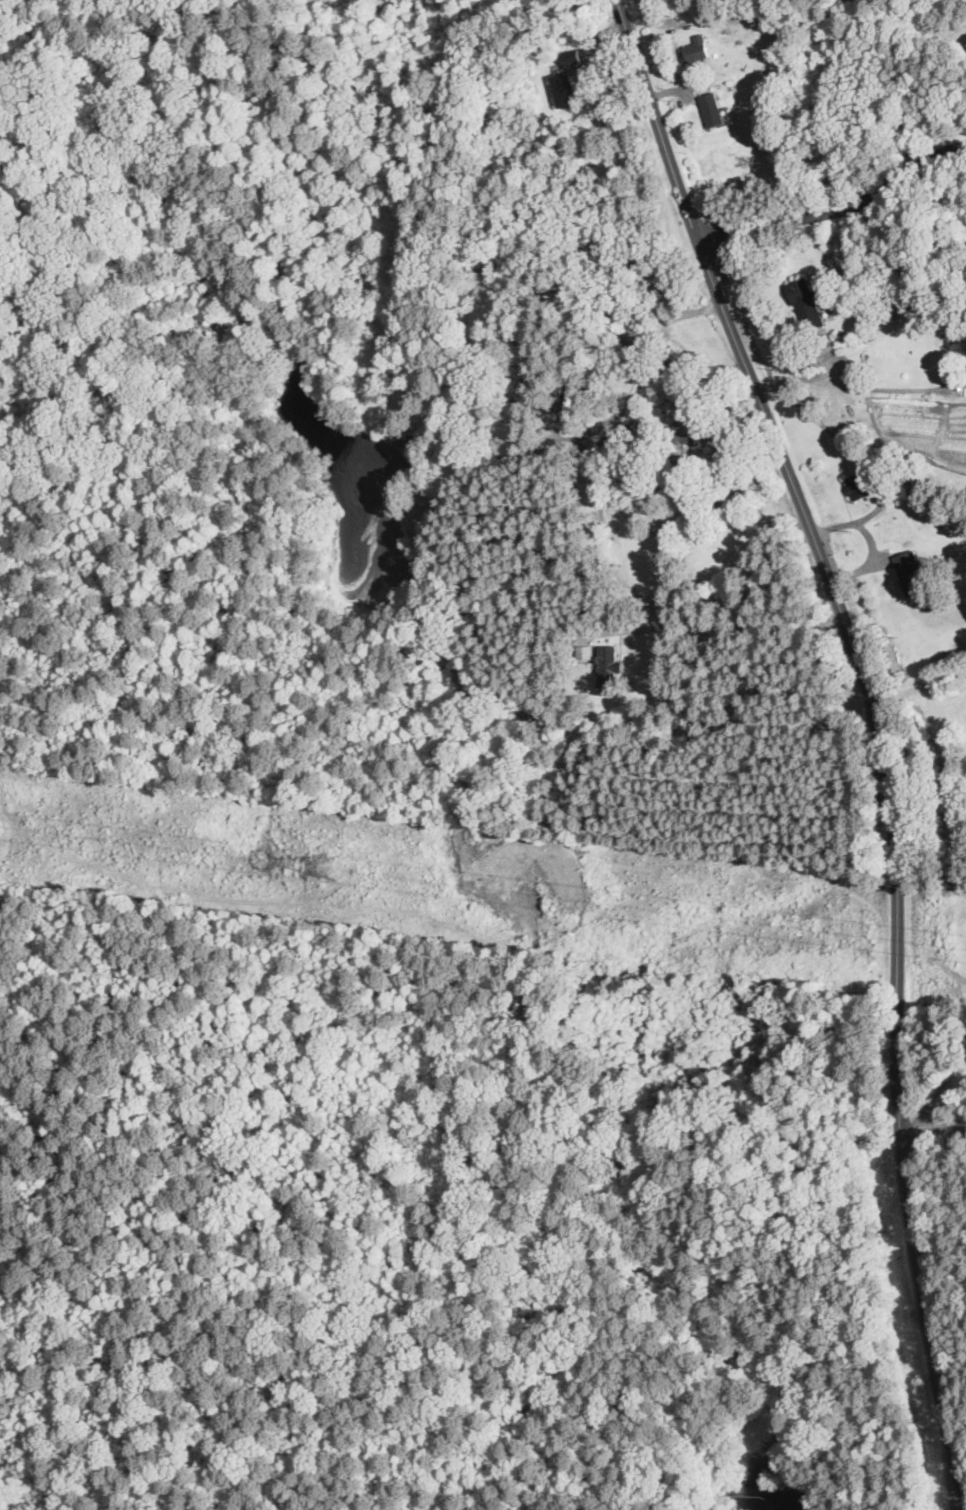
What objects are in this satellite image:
building: (277, 0)
building: (694, 48)
building: (570, 56)
road: (661, 59)
road: (598, 79)
building: (561, 89)
road: (670, 90)
building: (709, 109)
road: (839, 208)
building: (584, 245)
building: (619, 281)
building: (803, 302)
building: (628, 326)
road: (827, 352)
road: (640, 381)
road: (857, 386)
building: (563, 398)
building: (690, 430)
road: (884, 476)
building: (683, 478)
building: (857, 484)
road: (846, 501)
road: (871, 540)
road: (860, 568)
building: (910, 574)
road: (712, 623)
road: (622, 650)
building: (582, 652)
building: (605, 664)
road: (920, 687)
road: (882, 734)
power tower: (332, 888)
road: (933, 1133)

